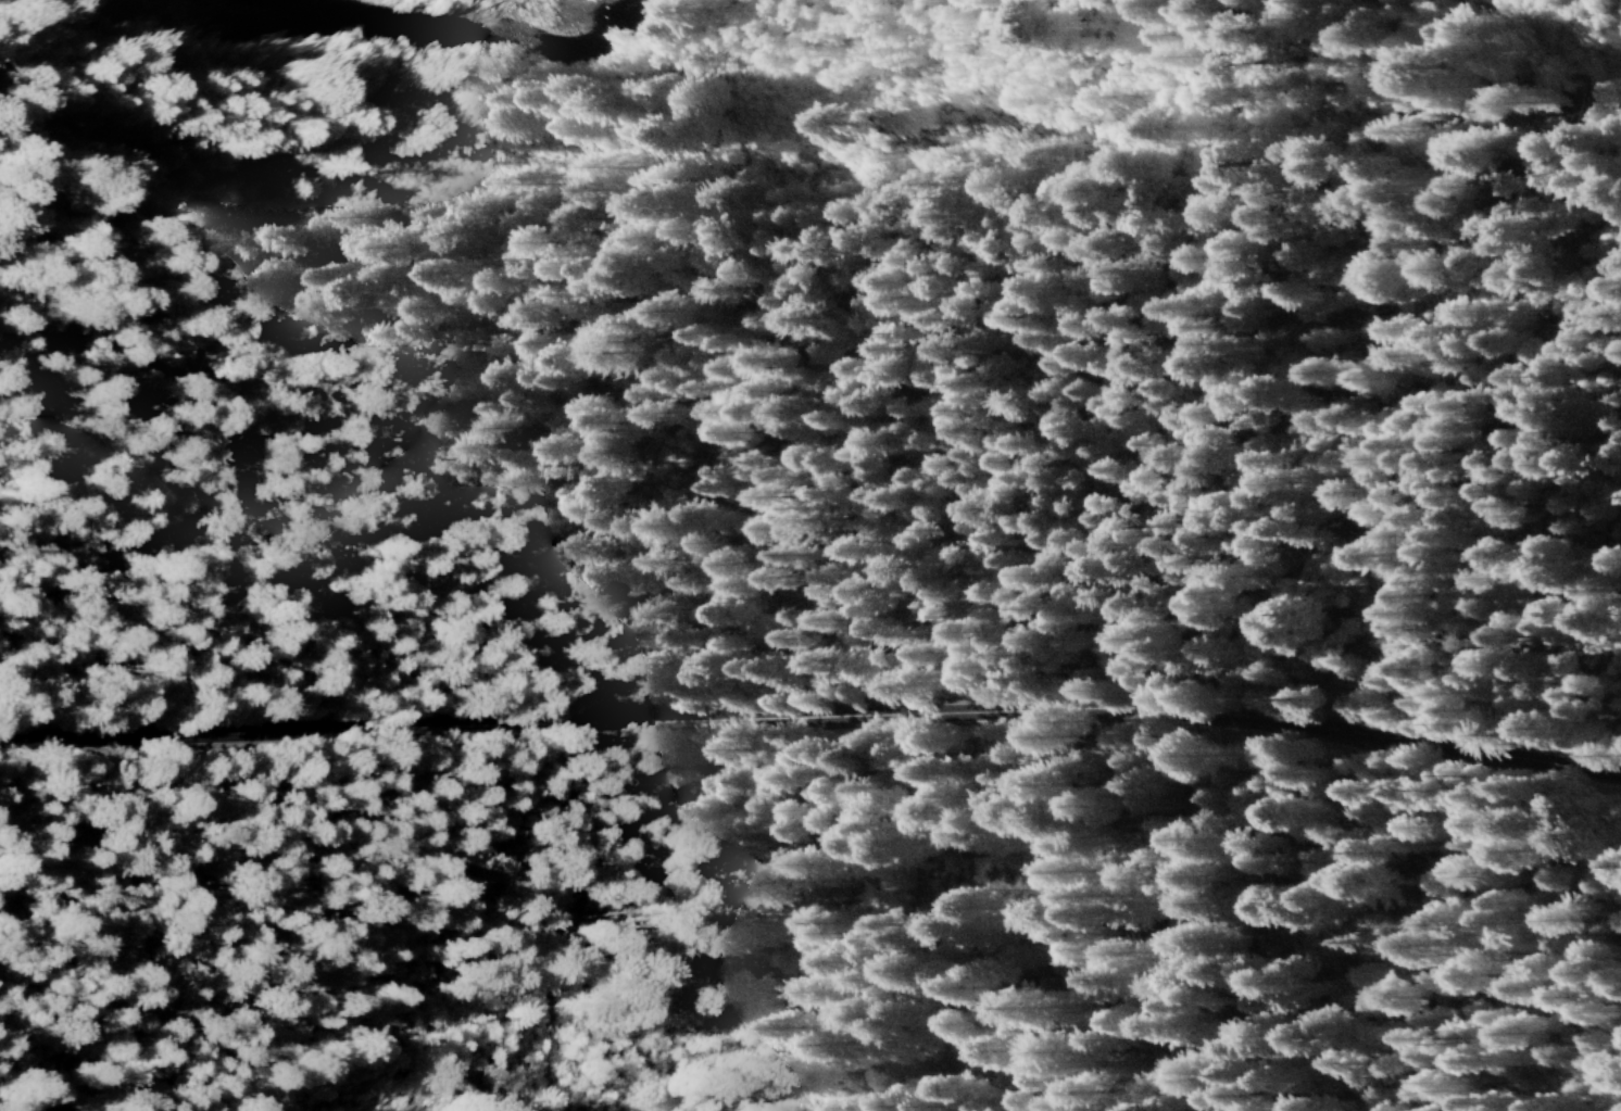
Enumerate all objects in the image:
road: (813, 716)
road: (1578, 1080)

